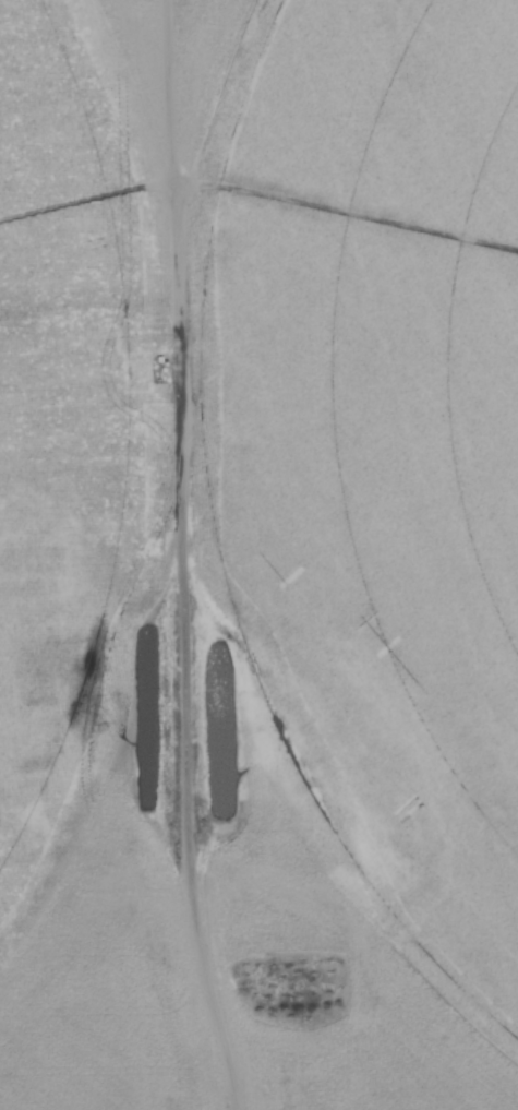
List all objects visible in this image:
crop: (258, 554)

